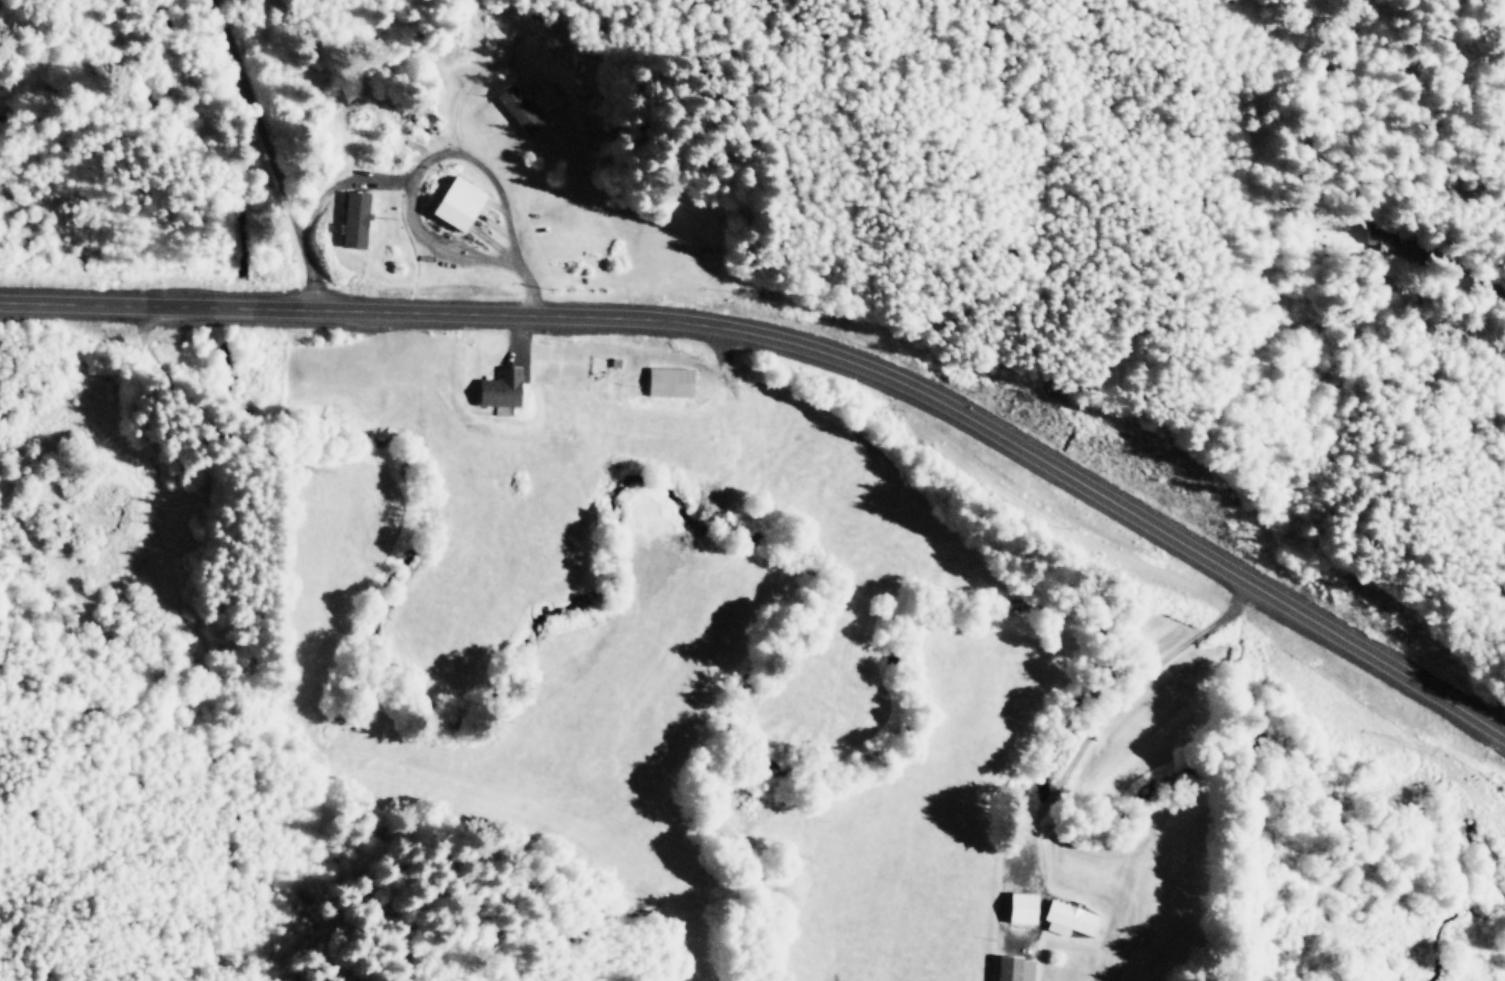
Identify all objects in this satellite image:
road: (458, 96)
building: (515, 107)
road: (268, 150)
road: (444, 152)
building: (452, 202)
building: (350, 219)
road: (802, 342)
building: (666, 381)
building: (495, 388)
building: (1017, 907)
building: (1066, 918)
building: (1010, 969)

